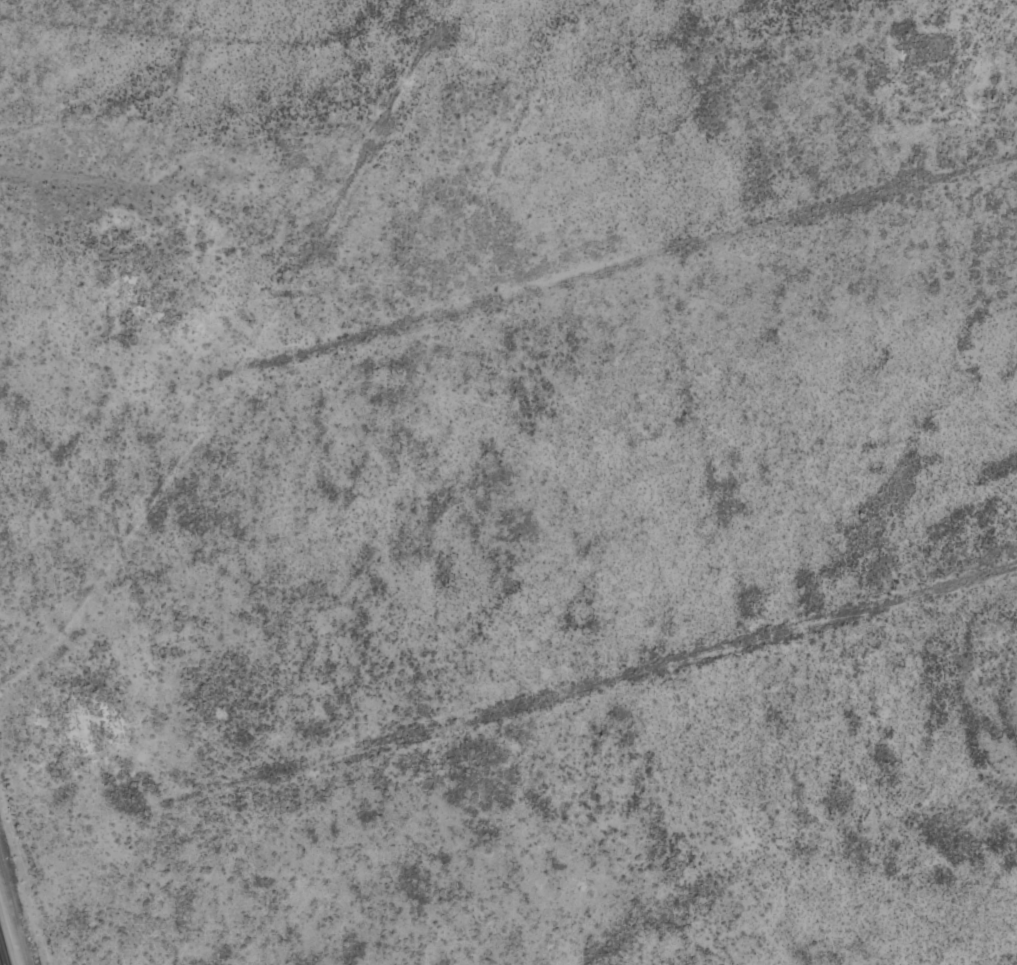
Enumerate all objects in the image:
road: (3, 950)

